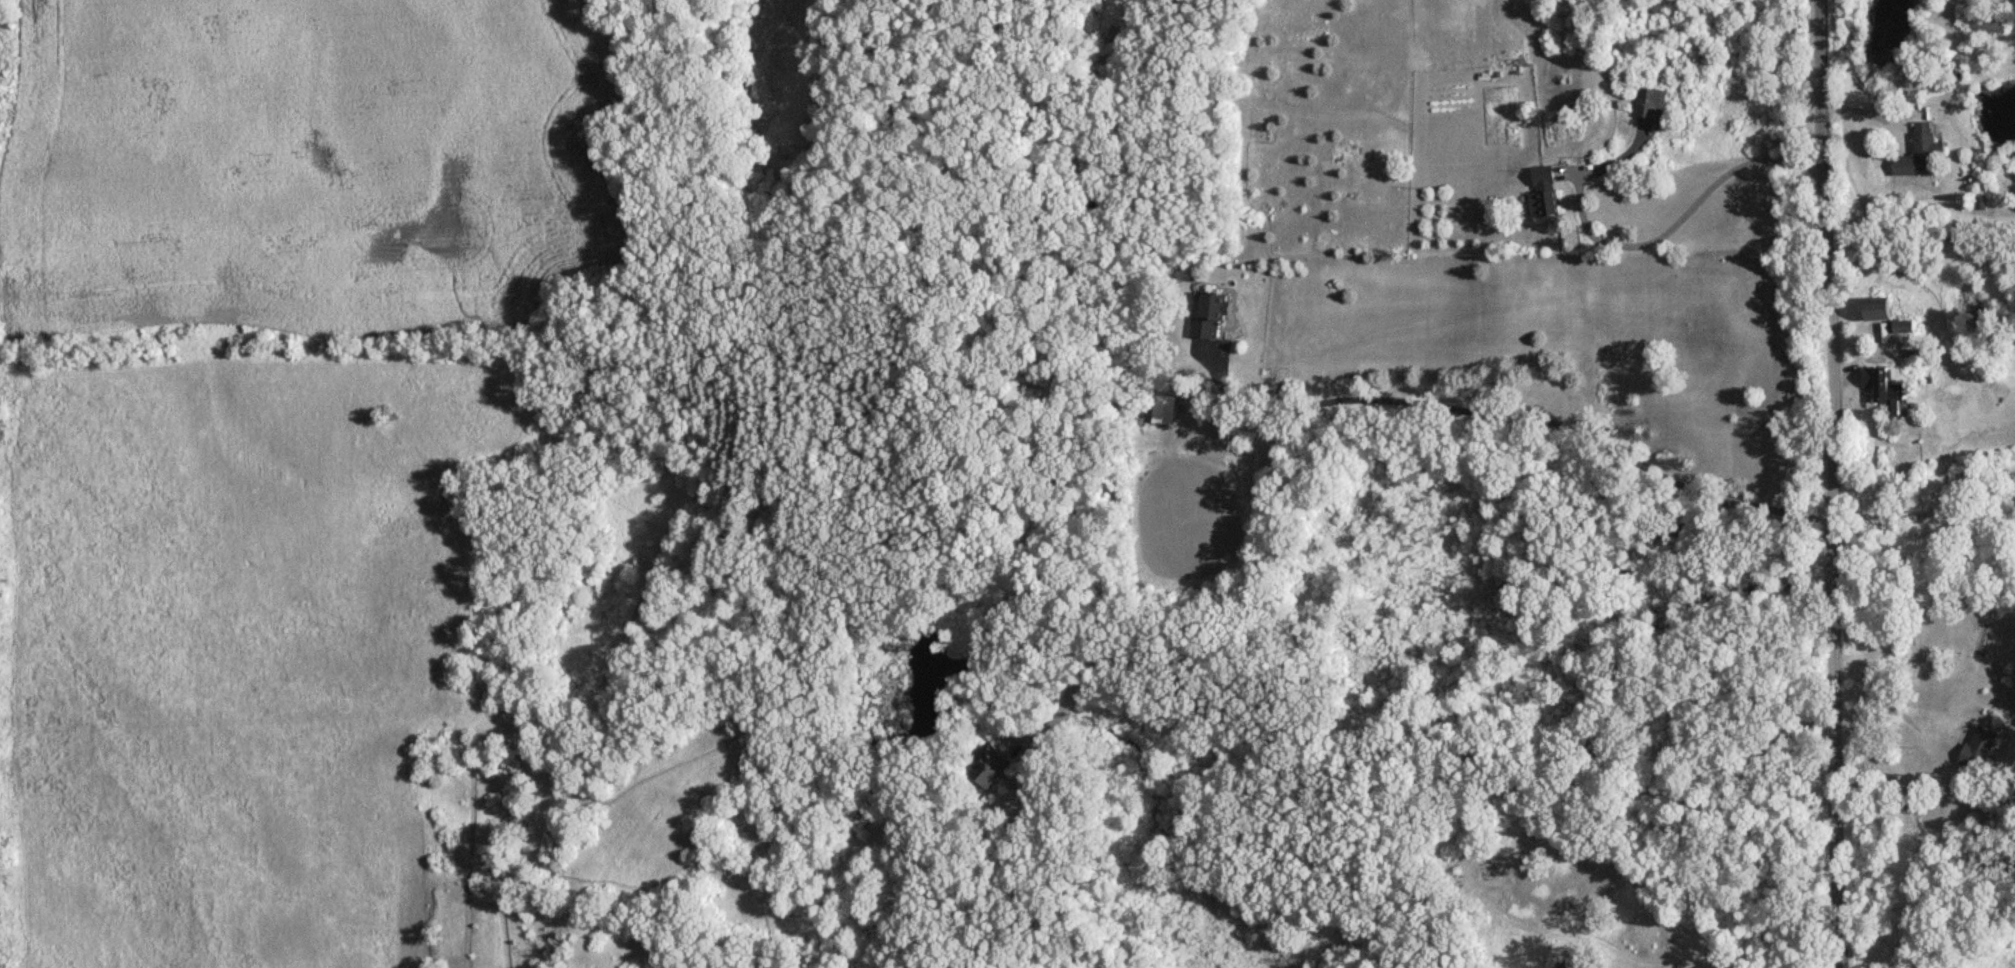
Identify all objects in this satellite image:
building: (1983, 24)
building: (1645, 106)
building: (1914, 156)
building: (1540, 193)
road: (1682, 221)
building: (1212, 316)
building: (1878, 392)
building: (1165, 411)
road: (1519, 413)
road: (1831, 483)
road: (1940, 744)
road: (1423, 750)
building: (1973, 751)
building: (1000, 764)

